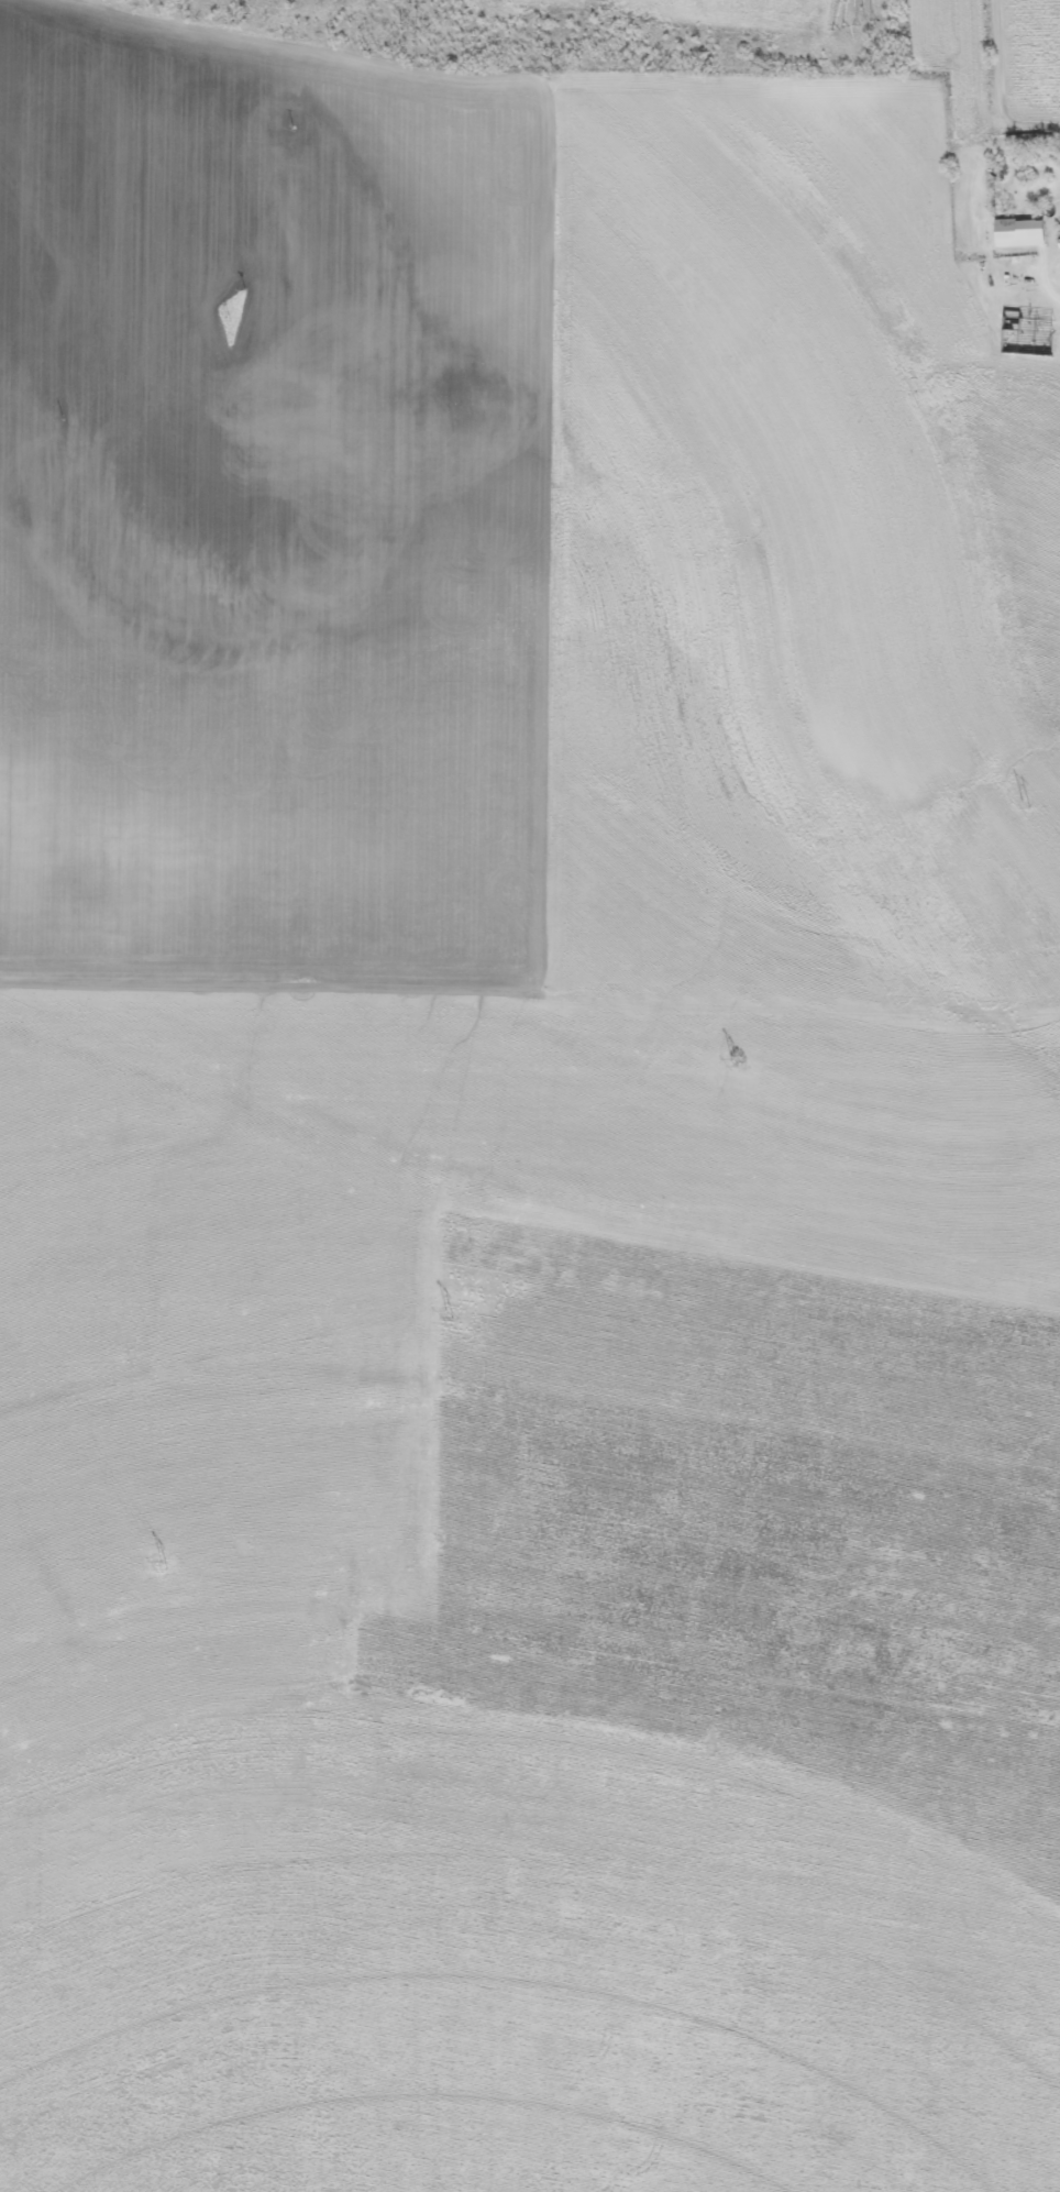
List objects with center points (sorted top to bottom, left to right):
building: (1024, 233)
power tower: (1026, 806)
power tower: (733, 1064)
power tower: (451, 1314)
power tower: (165, 1566)

